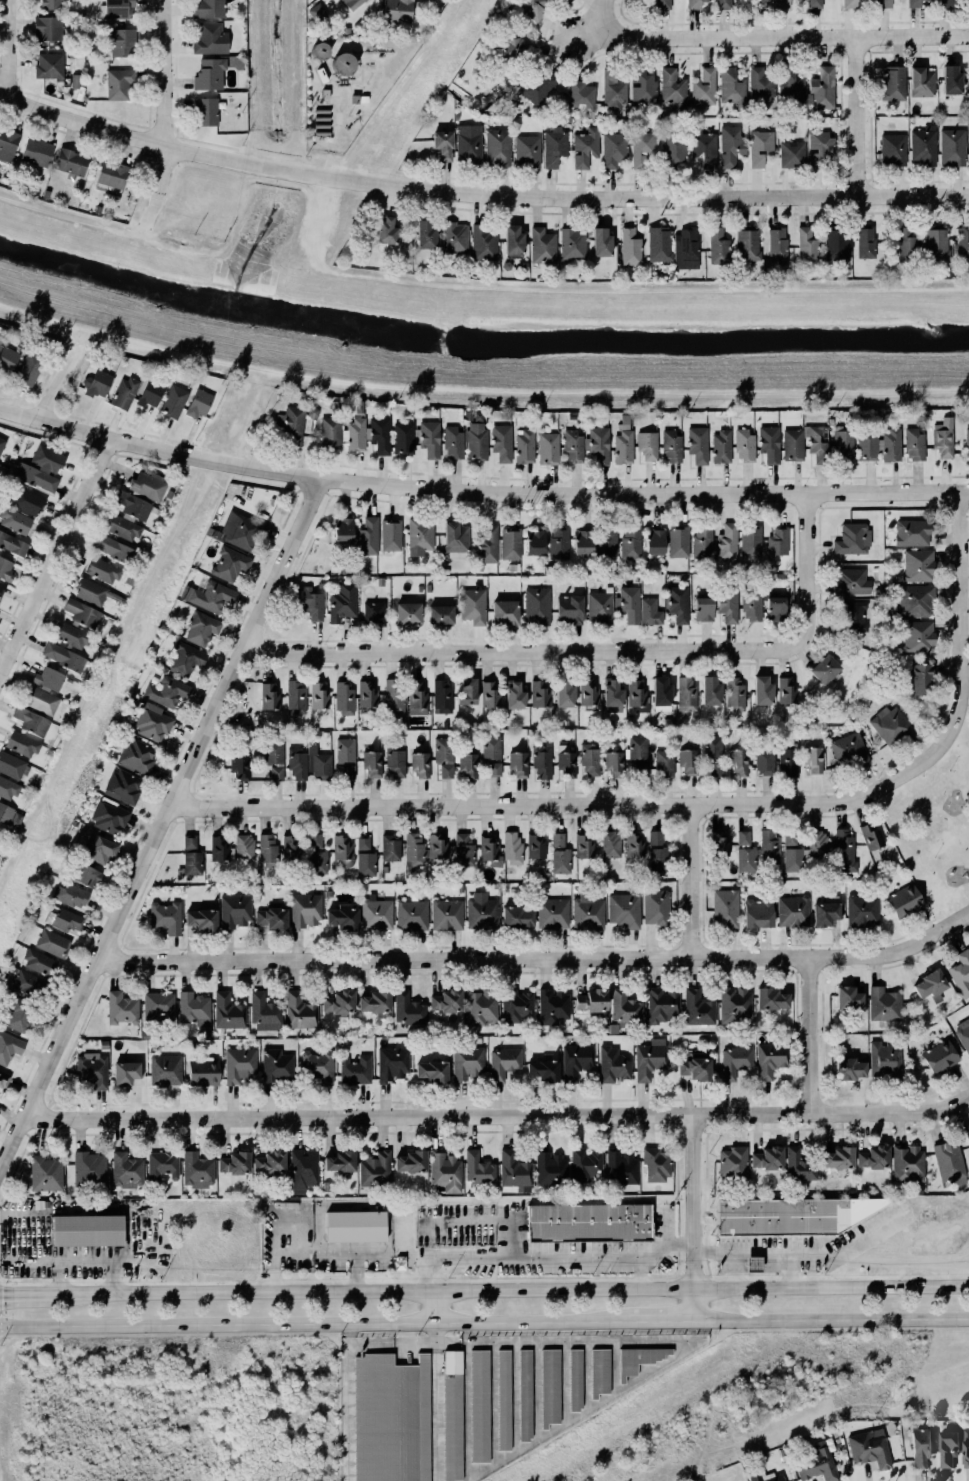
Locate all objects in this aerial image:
building: (760, 1)
building: (915, 3)
building: (944, 3)
building: (51, 4)
building: (352, 4)
building: (663, 4)
building: (696, 4)
building: (724, 4)
building: (782, 4)
building: (815, 4)
building: (850, 4)
building: (884, 4)
building: (966, 6)
building: (533, 8)
building: (116, 9)
building: (209, 9)
road: (600, 10)
building: (397, 11)
building: (317, 13)
building: (48, 29)
road: (588, 31)
road: (783, 36)
building: (211, 40)
building: (122, 43)
road: (6, 49)
building: (515, 49)
building: (343, 64)
building: (49, 66)
building: (209, 75)
building: (948, 80)
building: (922, 82)
building: (119, 84)
building: (894, 84)
building: (761, 86)
building: (539, 87)
building: (643, 88)
building: (704, 88)
building: (732, 88)
building: (790, 89)
building: (822, 89)
building: (673, 90)
building: (614, 92)
building: (581, 95)
building: (205, 112)
road: (163, 114)
building: (566, 114)
building: (454, 115)
road: (856, 116)
building: (968, 136)
building: (469, 144)
building: (7, 145)
building: (443, 145)
building: (554, 147)
building: (704, 147)
building: (731, 147)
building: (921, 147)
building: (498, 148)
building: (586, 148)
building: (674, 148)
building: (760, 148)
building: (952, 148)
building: (643, 149)
building: (820, 149)
building: (614, 150)
building: (893, 150)
building: (527, 152)
building: (37, 153)
building: (792, 154)
building: (71, 162)
building: (112, 175)
road: (478, 194)
building: (386, 231)
building: (422, 235)
building: (454, 239)
building: (509, 240)
building: (962, 242)
building: (484, 243)
building: (598, 243)
building: (865, 243)
building: (936, 243)
building: (572, 244)
building: (659, 245)
building: (748, 245)
building: (906, 245)
building: (540, 246)
building: (777, 246)
building: (806, 246)
building: (837, 246)
building: (628, 247)
building: (718, 247)
building: (686, 250)
building: (945, 272)
building: (0, 340)
river: (478, 343)
building: (7, 360)
building: (30, 369)
road: (58, 384)
building: (97, 384)
building: (124, 393)
building: (149, 393)
building: (173, 401)
building: (198, 405)
building: (423, 411)
building: (466, 415)
building: (475, 416)
building: (290, 424)
building: (330, 433)
building: (368, 435)
building: (417, 438)
building: (943, 438)
building: (476, 441)
building: (499, 442)
building: (453, 443)
building: (818, 443)
building: (967, 443)
building: (2, 444)
building: (695, 444)
building: (769, 444)
building: (645, 445)
building: (793, 445)
building: (842, 445)
building: (879, 445)
building: (914, 445)
building: (587, 446)
building: (524, 447)
building: (672, 447)
building: (721, 447)
building: (744, 447)
building: (546, 448)
building: (623, 448)
building: (41, 470)
building: (145, 485)
road: (480, 492)
building: (27, 502)
building: (132, 505)
building: (15, 521)
building: (123, 529)
building: (343, 530)
building: (240, 533)
building: (912, 533)
building: (391, 535)
building: (420, 536)
building: (368, 537)
building: (456, 540)
building: (853, 540)
building: (630, 542)
building: (655, 542)
building: (751, 542)
building: (778, 542)
building: (535, 543)
building: (559, 543)
building: (583, 543)
building: (679, 543)
building: (702, 543)
building: (727, 543)
building: (510, 544)
building: (608, 544)
building: (13, 545)
building: (488, 546)
building: (114, 549)
road: (56, 559)
building: (230, 565)
building: (918, 566)
building: (6, 569)
building: (103, 571)
building: (378, 581)
building: (851, 582)
building: (418, 588)
building: (2, 589)
building: (91, 592)
building: (209, 597)
building: (342, 602)
building: (915, 602)
building: (309, 603)
building: (629, 604)
building: (728, 604)
building: (471, 605)
building: (679, 605)
building: (537, 607)
building: (752, 607)
building: (600, 608)
building: (703, 609)
building: (775, 609)
building: (569, 610)
road: (959, 610)
building: (648, 612)
building: (374, 613)
building: (505, 613)
building: (82, 614)
building: (408, 614)
building: (440, 615)
building: (851, 618)
building: (202, 629)
building: (72, 637)
building: (918, 637)
road: (600, 648)
building: (63, 657)
building: (185, 660)
building: (825, 670)
building: (921, 679)
building: (49, 680)
building: (467, 691)
building: (708, 691)
building: (759, 691)
building: (167, 692)
building: (786, 692)
building: (564, 693)
building: (587, 693)
building: (540, 694)
building: (612, 694)
building: (661, 694)
building: (735, 694)
building: (367, 695)
building: (490, 695)
building: (514, 695)
building: (687, 695)
building: (269, 696)
building: (393, 696)
building: (637, 696)
building: (319, 697)
building: (442, 697)
building: (296, 698)
building: (344, 699)
building: (418, 699)
building: (42, 702)
building: (29, 721)
building: (152, 725)
building: (891, 726)
building: (19, 744)
building: (713, 747)
building: (343, 749)
building: (849, 751)
building: (638, 753)
building: (492, 755)
building: (444, 756)
building: (137, 757)
building: (275, 760)
building: (590, 760)
building: (813, 760)
building: (395, 762)
building: (542, 762)
building: (566, 762)
building: (613, 762)
building: (689, 762)
building: (738, 762)
building: (788, 762)
building: (319, 763)
building: (664, 763)
building: (765, 763)
building: (297, 764)
building: (372, 765)
building: (519, 765)
building: (11, 766)
building: (420, 766)
building: (468, 767)
building: (240, 768)
building: (713, 769)
building: (345, 771)
building: (123, 787)
building: (7, 788)
road: (574, 806)
building: (6, 813)
building: (109, 818)
park: (935, 825)
building: (0, 827)
road: (161, 830)
building: (871, 837)
building: (743, 838)
building: (718, 841)
building: (189, 843)
building: (611, 844)
building: (817, 844)
building: (633, 846)
building: (769, 846)
building: (536, 847)
building: (220, 848)
building: (244, 848)
building: (291, 848)
building: (390, 848)
building: (512, 848)
building: (584, 848)
building: (267, 849)
building: (343, 849)
building: (464, 849)
building: (98, 850)
building: (423, 850)
building: (490, 851)
building: (846, 851)
building: (657, 854)
building: (792, 854)
building: (560, 855)
building: (317, 856)
building: (365, 858)
building: (746, 859)
building: (192, 863)
building: (86, 876)
road: (698, 882)
building: (72, 896)
building: (904, 902)
building: (656, 908)
building: (725, 909)
building: (234, 911)
building: (305, 911)
building: (624, 911)
building: (862, 911)
building: (793, 912)
building: (587, 913)
building: (758, 913)
building: (376, 914)
building: (482, 914)
building: (553, 914)
building: (825, 914)
building: (447, 915)
building: (412, 916)
building: (343, 917)
building: (166, 918)
building: (517, 918)
building: (272, 919)
building: (201, 920)
building: (65, 921)
building: (52, 944)
road: (540, 960)
building: (39, 963)
building: (961, 974)
building: (27, 984)
building: (930, 986)
building: (848, 999)
building: (771, 1000)
building: (446, 1001)
building: (591, 1001)
building: (375, 1002)
building: (339, 1003)
building: (735, 1004)
building: (662, 1005)
building: (884, 1005)
building: (515, 1006)
building: (553, 1006)
building: (158, 1007)
building: (481, 1007)
building: (121, 1008)
building: (626, 1008)
building: (193, 1009)
building: (408, 1009)
building: (698, 1009)
building: (229, 1012)
building: (299, 1012)
building: (265, 1013)
building: (18, 1015)
building: (963, 1034)
road: (816, 1035)
building: (9, 1048)
building: (940, 1058)
building: (650, 1059)
building: (885, 1059)
building: (771, 1060)
building: (576, 1062)
building: (735, 1062)
building: (504, 1063)
building: (467, 1064)
building: (392, 1065)
building: (613, 1065)
building: (239, 1066)
building: (277, 1067)
building: (318, 1067)
building: (695, 1068)
building: (849, 1069)
building: (355, 1070)
building: (92, 1071)
building: (165, 1071)
building: (543, 1071)
building: (126, 1073)
building: (203, 1073)
building: (431, 1073)
building: (3, 1081)
road: (500, 1115)
building: (967, 1138)
building: (874, 1158)
building: (768, 1159)
building: (838, 1159)
building: (411, 1162)
building: (341, 1163)
building: (733, 1163)
building: (235, 1164)
building: (907, 1164)
building: (949, 1164)
building: (270, 1165)
building: (656, 1165)
building: (163, 1166)
building: (584, 1166)
building: (799, 1166)
building: (478, 1169)
building: (550, 1169)
building: (621, 1169)
building: (89, 1170)
building: (303, 1170)
building: (374, 1170)
building: (514, 1170)
building: (126, 1171)
building: (197, 1171)
building: (445, 1172)
building: (45, 1174)
building: (325, 1186)
road: (691, 1201)
building: (303, 1208)
building: (790, 1216)
building: (586, 1223)
building: (352, 1227)
building: (84, 1231)
road: (664, 1247)
road: (314, 1249)
road: (833, 1253)
road: (741, 1254)
road: (531, 1260)
building: (753, 1265)
road: (734, 1271)
road: (511, 1289)
road: (27, 1293)
road: (693, 1304)
road: (436, 1306)
road: (831, 1319)
road: (660, 1320)
road: (531, 1321)
road: (218, 1323)
road: (436, 1332)
road: (685, 1347)
building: (636, 1359)
road: (346, 1368)
building: (597, 1372)
building: (573, 1379)
building: (547, 1387)
building: (522, 1395)
building: (501, 1400)
building: (477, 1406)
building: (451, 1416)
building: (389, 1419)
building: (918, 1448)
building: (946, 1448)
building: (965, 1448)
building: (867, 1449)
building: (813, 1465)
building: (752, 1476)
building: (773, 1478)

